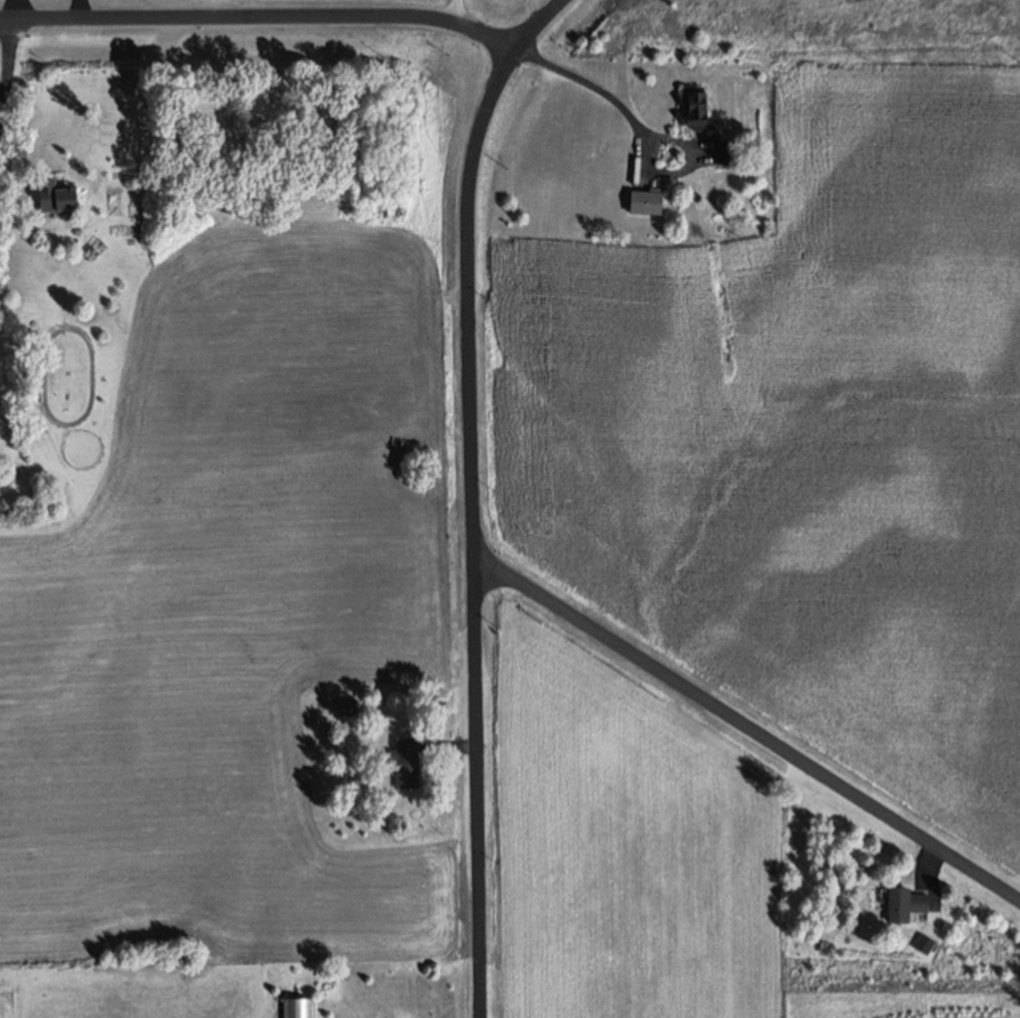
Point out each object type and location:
road: (456, 12)
road: (261, 16)
road: (8, 65)
road: (589, 84)
building: (696, 109)
building: (725, 151)
building: (54, 196)
building: (646, 201)
road: (473, 494)
building: (349, 707)
road: (747, 727)
building: (405, 761)
building: (904, 904)
building: (924, 945)
building: (296, 1007)

